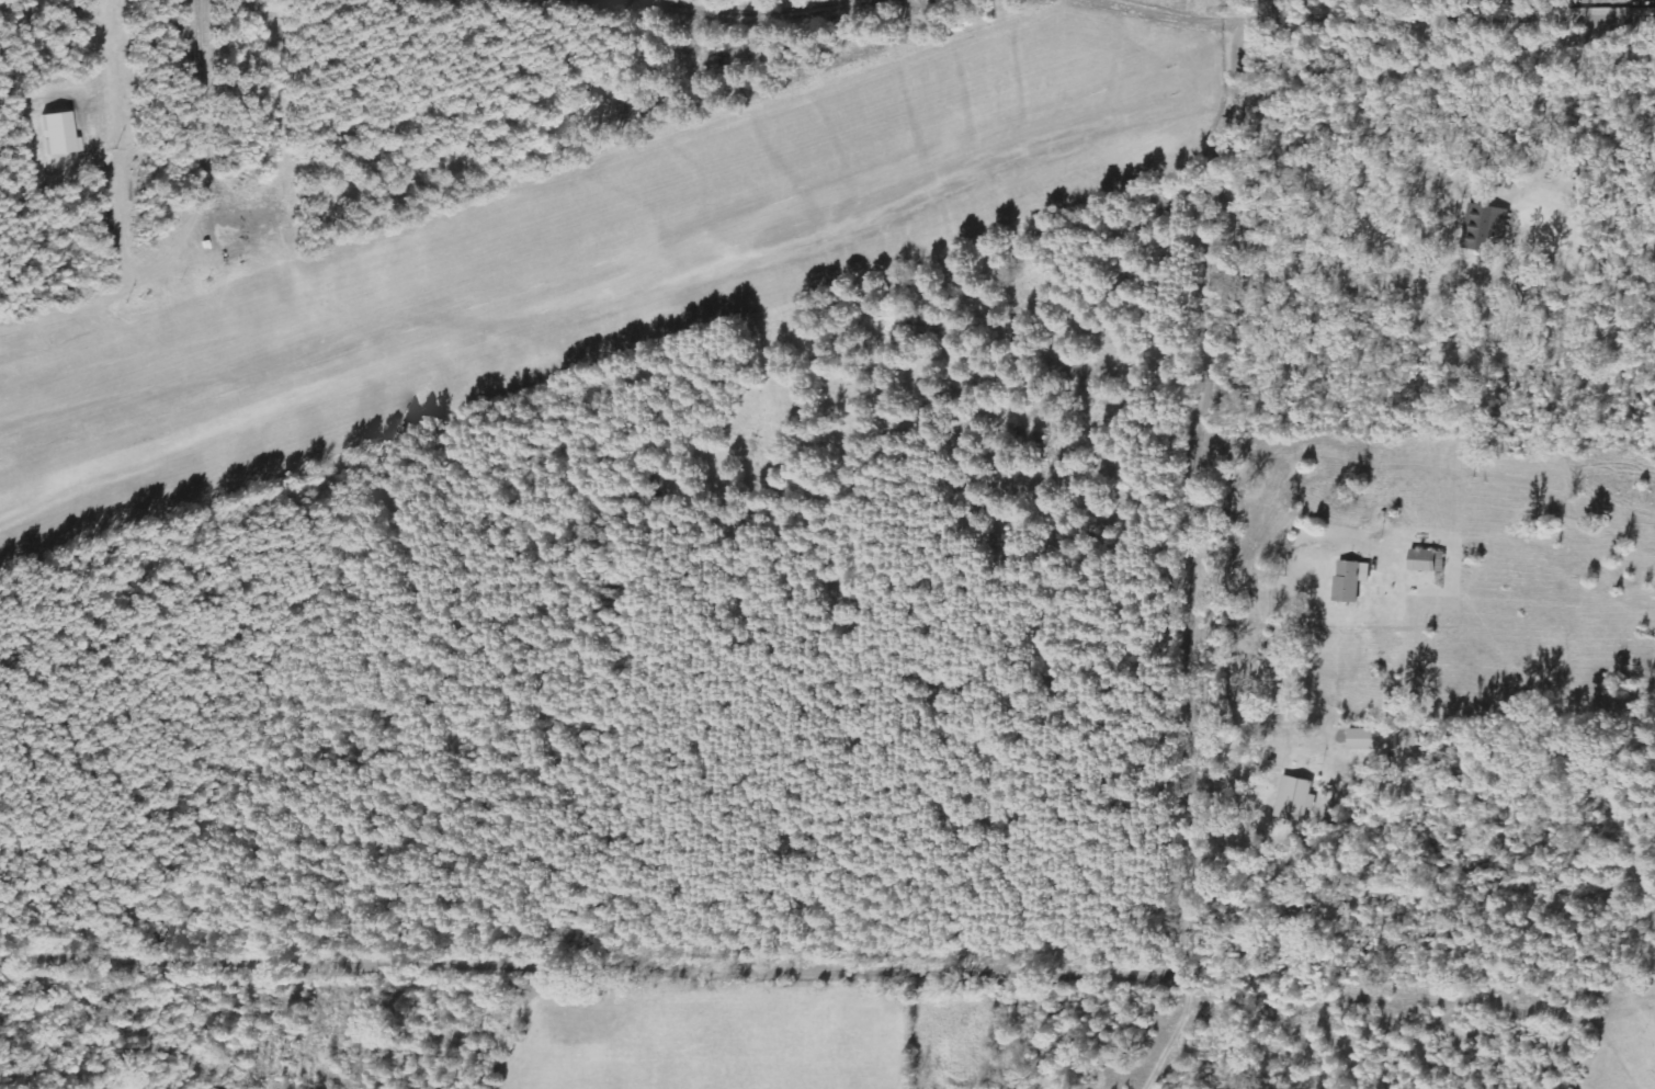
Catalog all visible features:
road: (1402, 19)
building: (58, 129)
building: (1485, 228)
airport runway: (569, 300)
building: (1428, 561)
building: (1351, 581)
building: (1373, 740)
building: (1295, 799)
road: (1016, 977)

